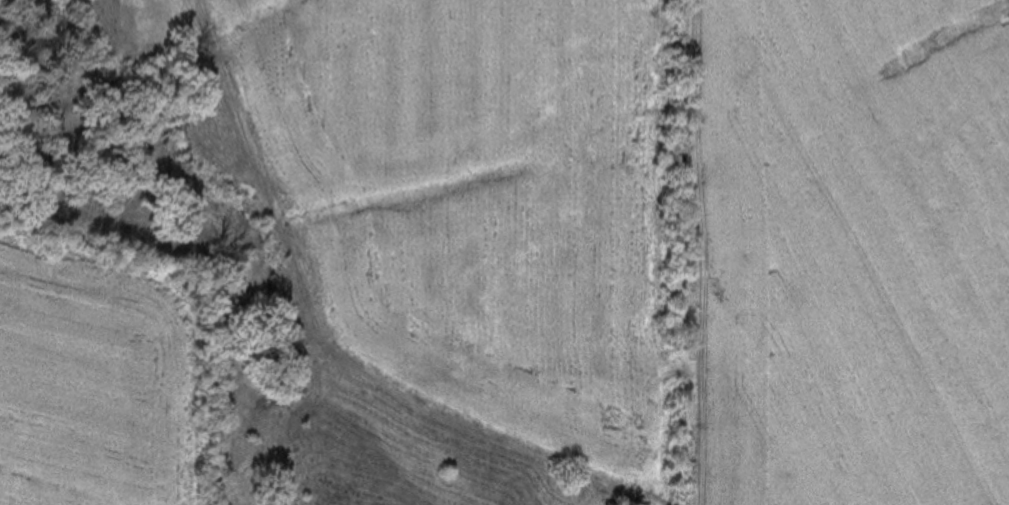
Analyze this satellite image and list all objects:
road: (712, 275)

